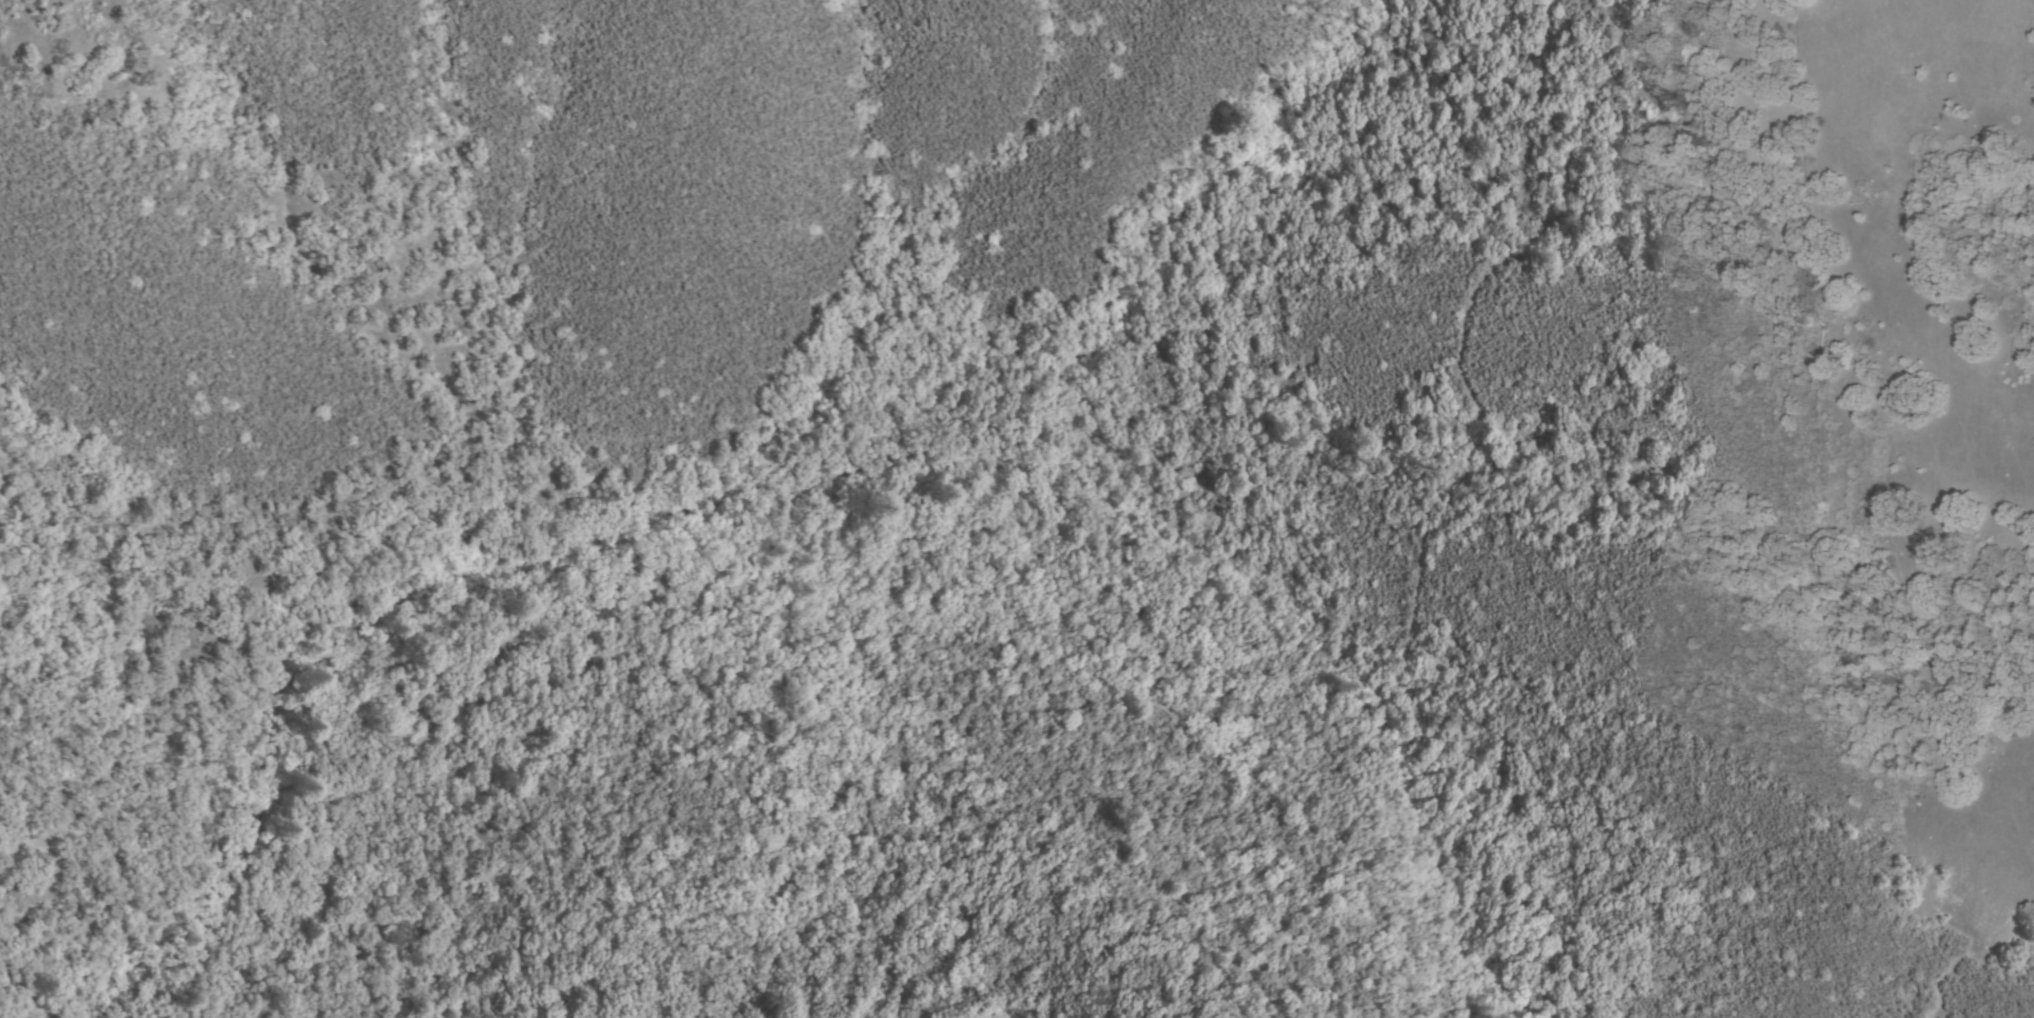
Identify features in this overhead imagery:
road: (1744, 10)
road: (1362, 712)

